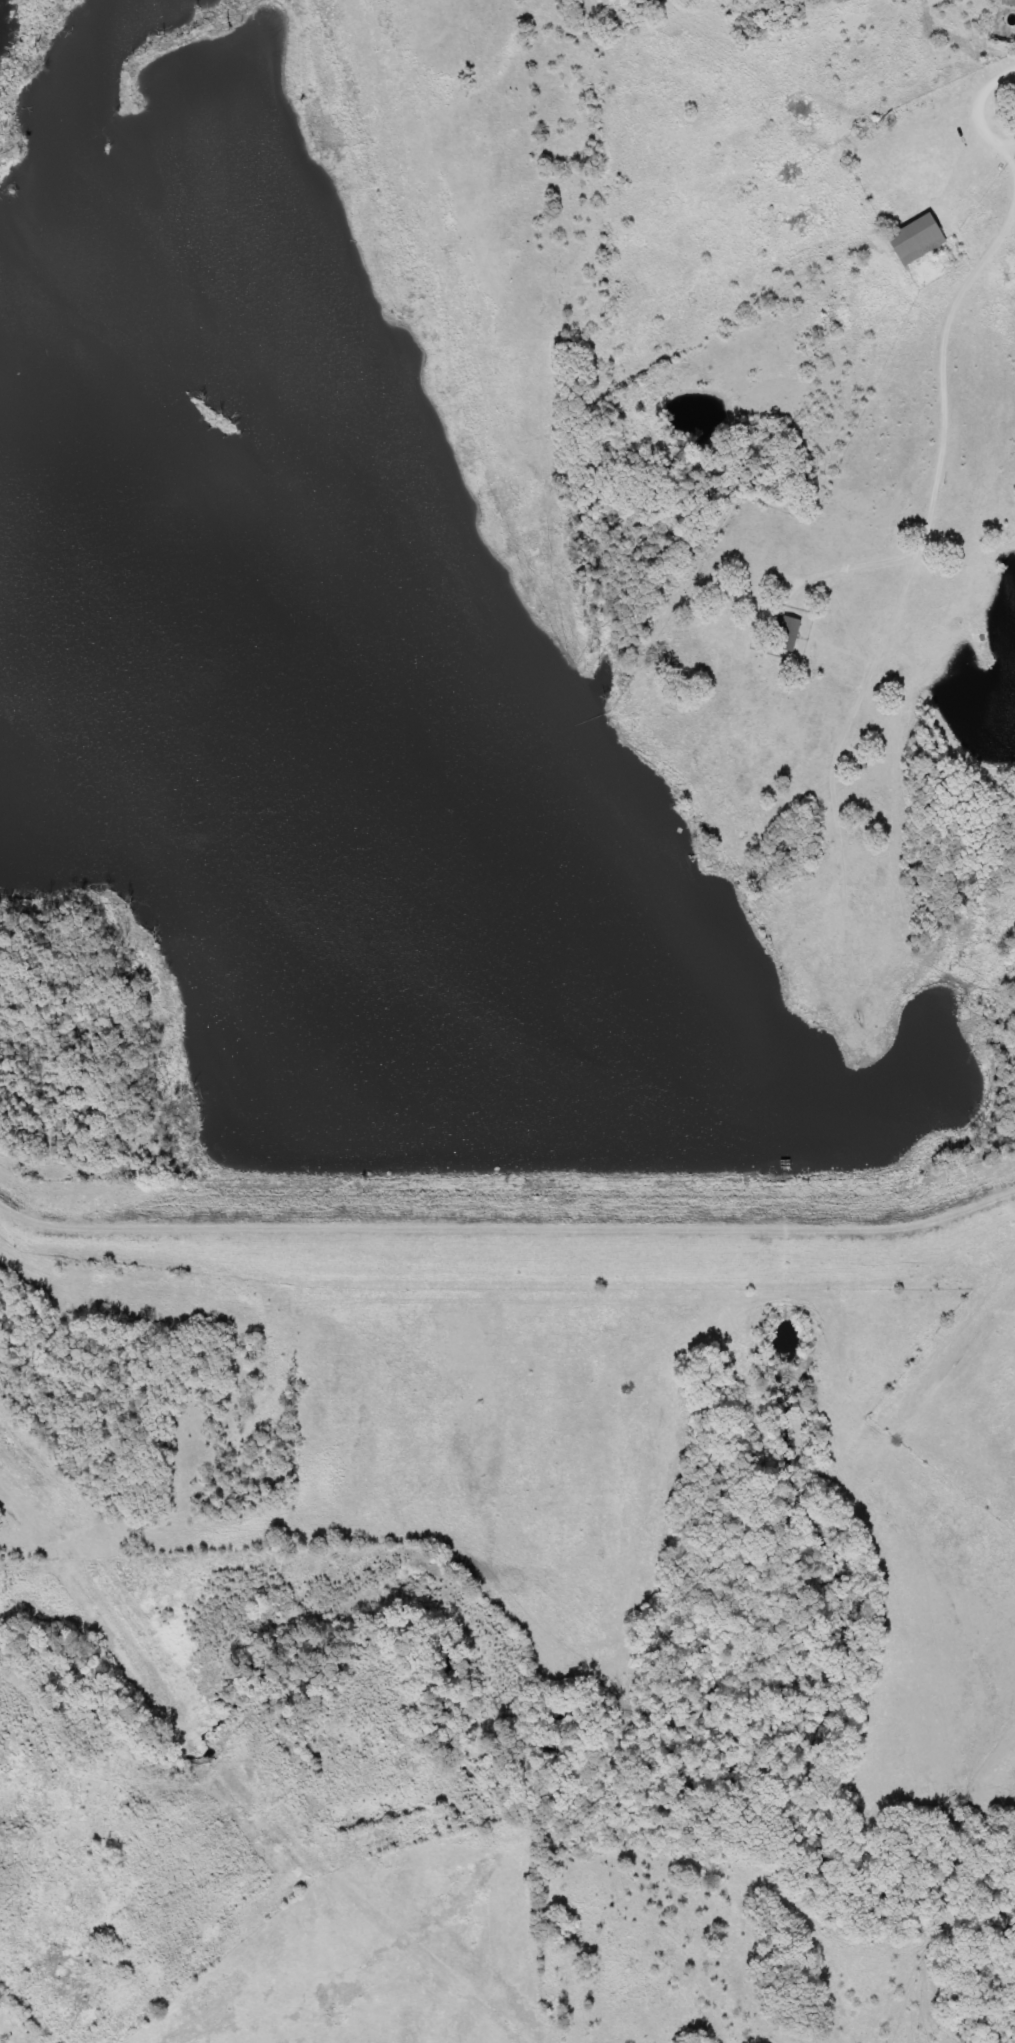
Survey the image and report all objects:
building: (1012, 92)
building: (877, 127)
building: (916, 240)
building: (788, 632)

